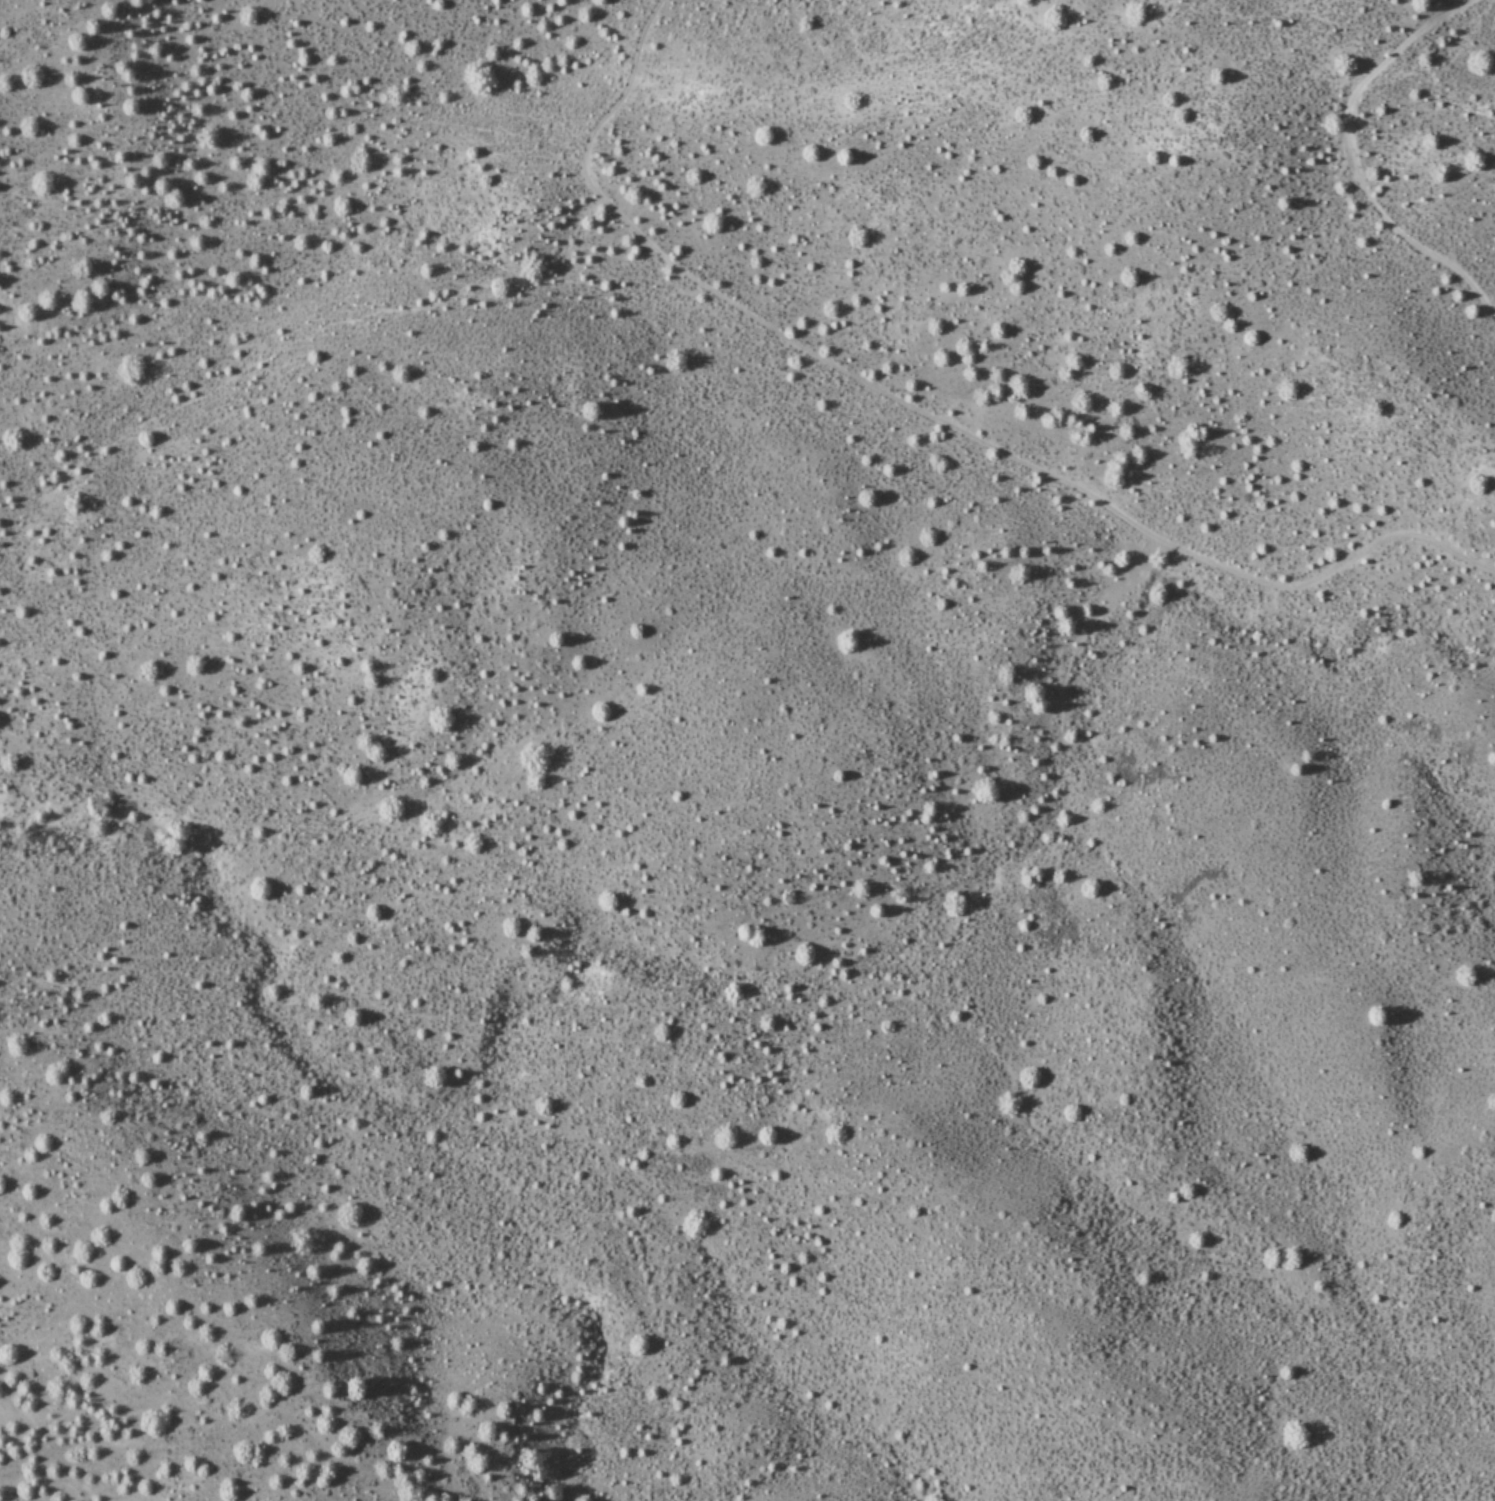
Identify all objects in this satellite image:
road: (1368, 118)
road: (953, 367)

